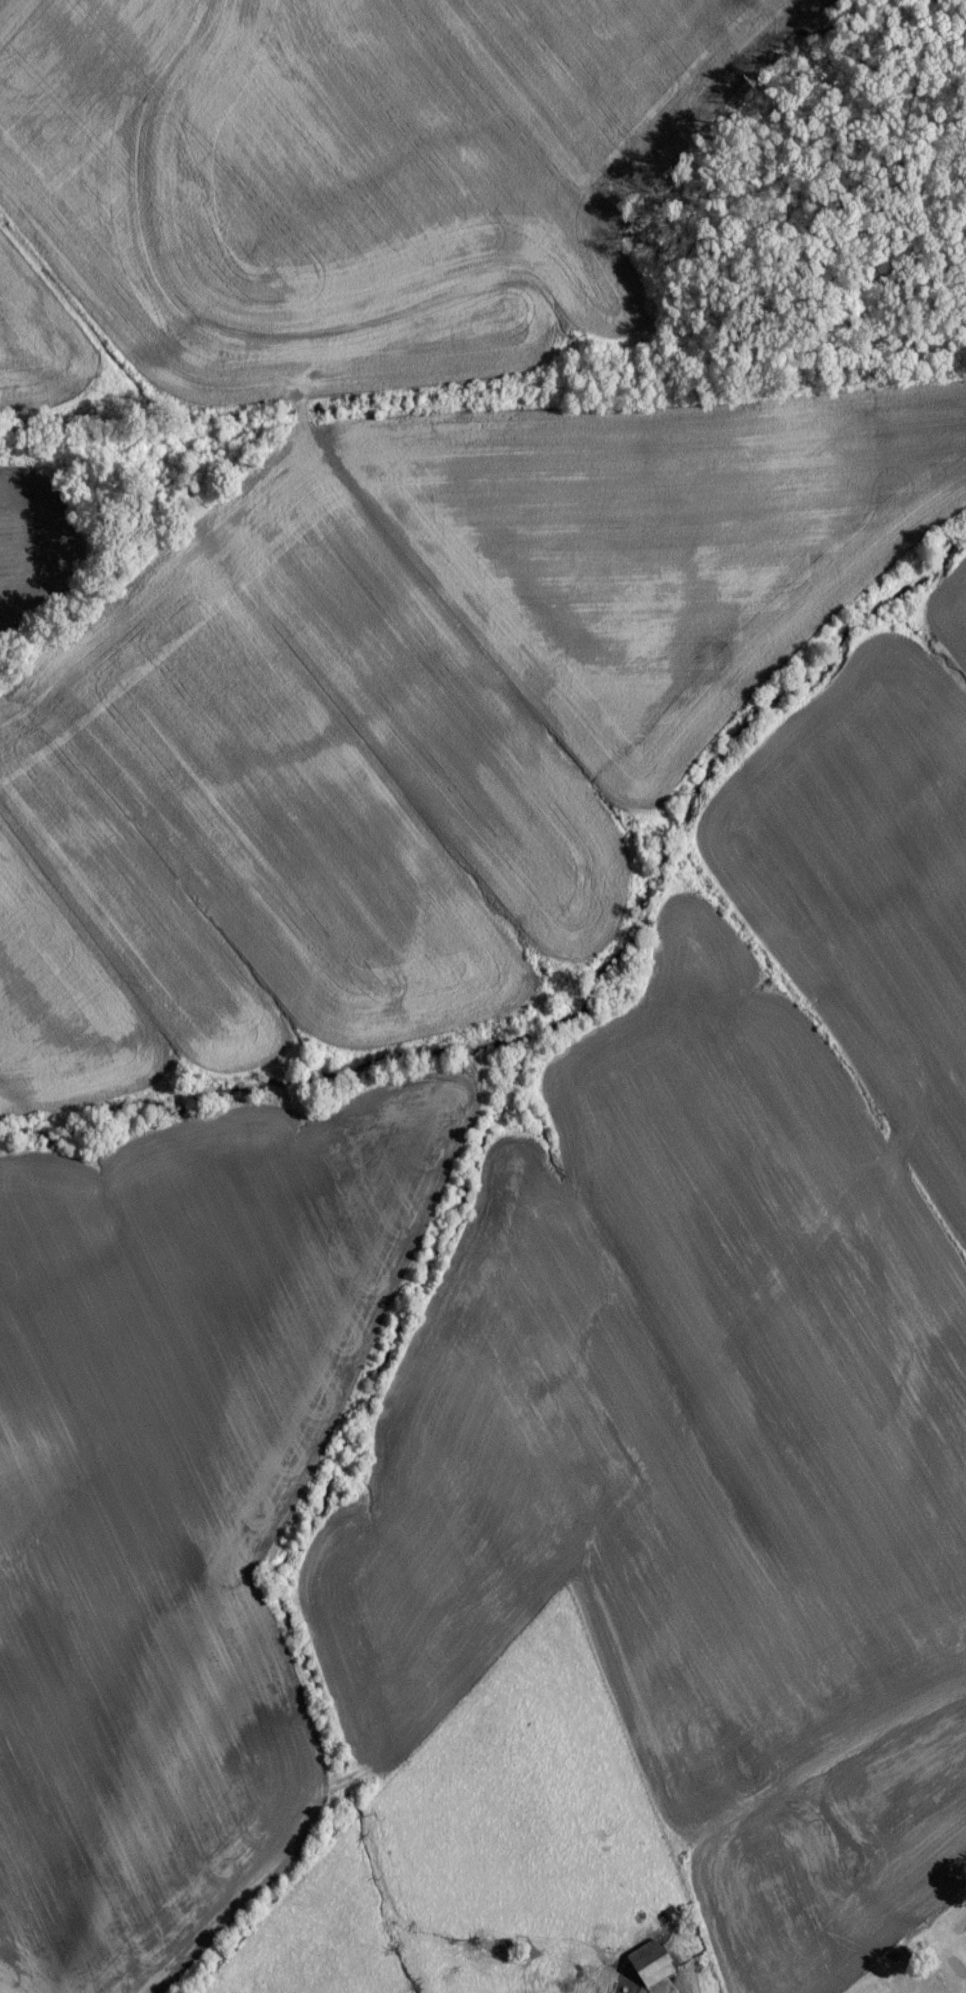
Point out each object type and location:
park: (912, 1944)
building: (649, 1969)
building: (617, 1992)

